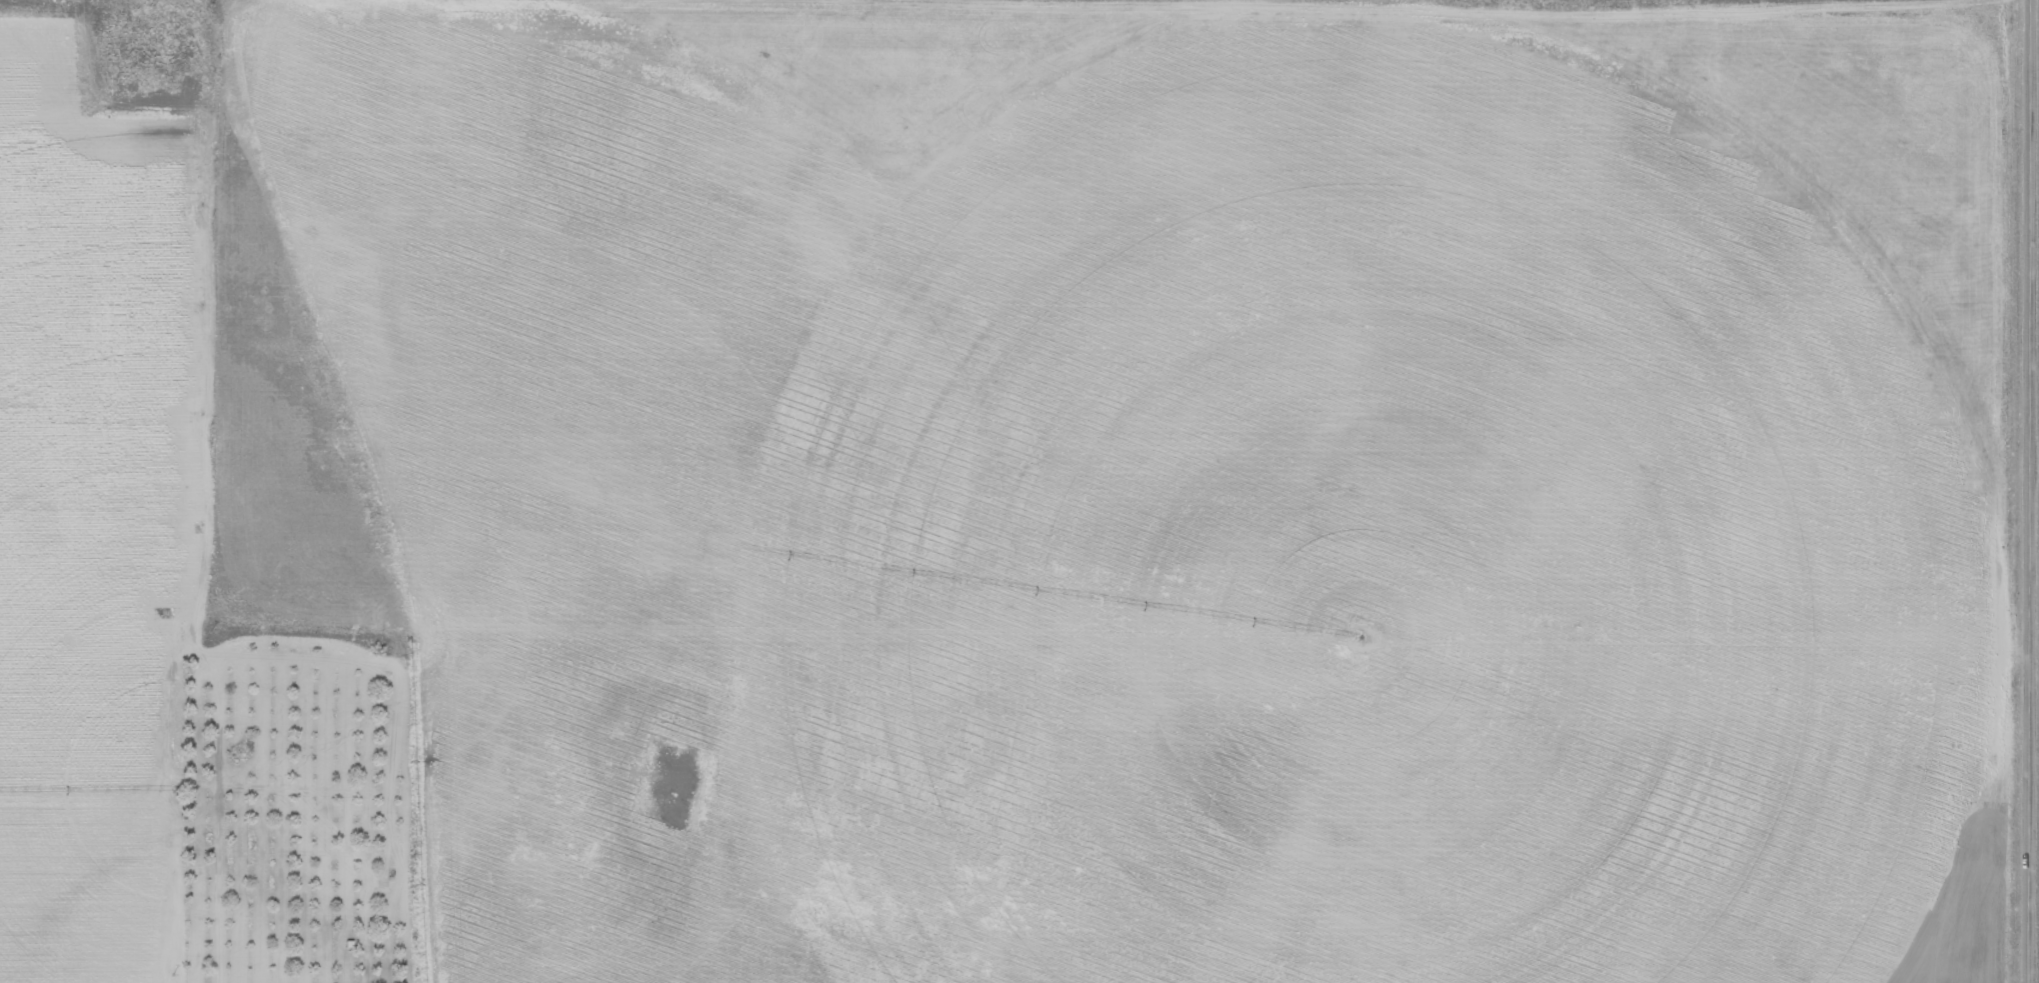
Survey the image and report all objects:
road: (2030, 491)

